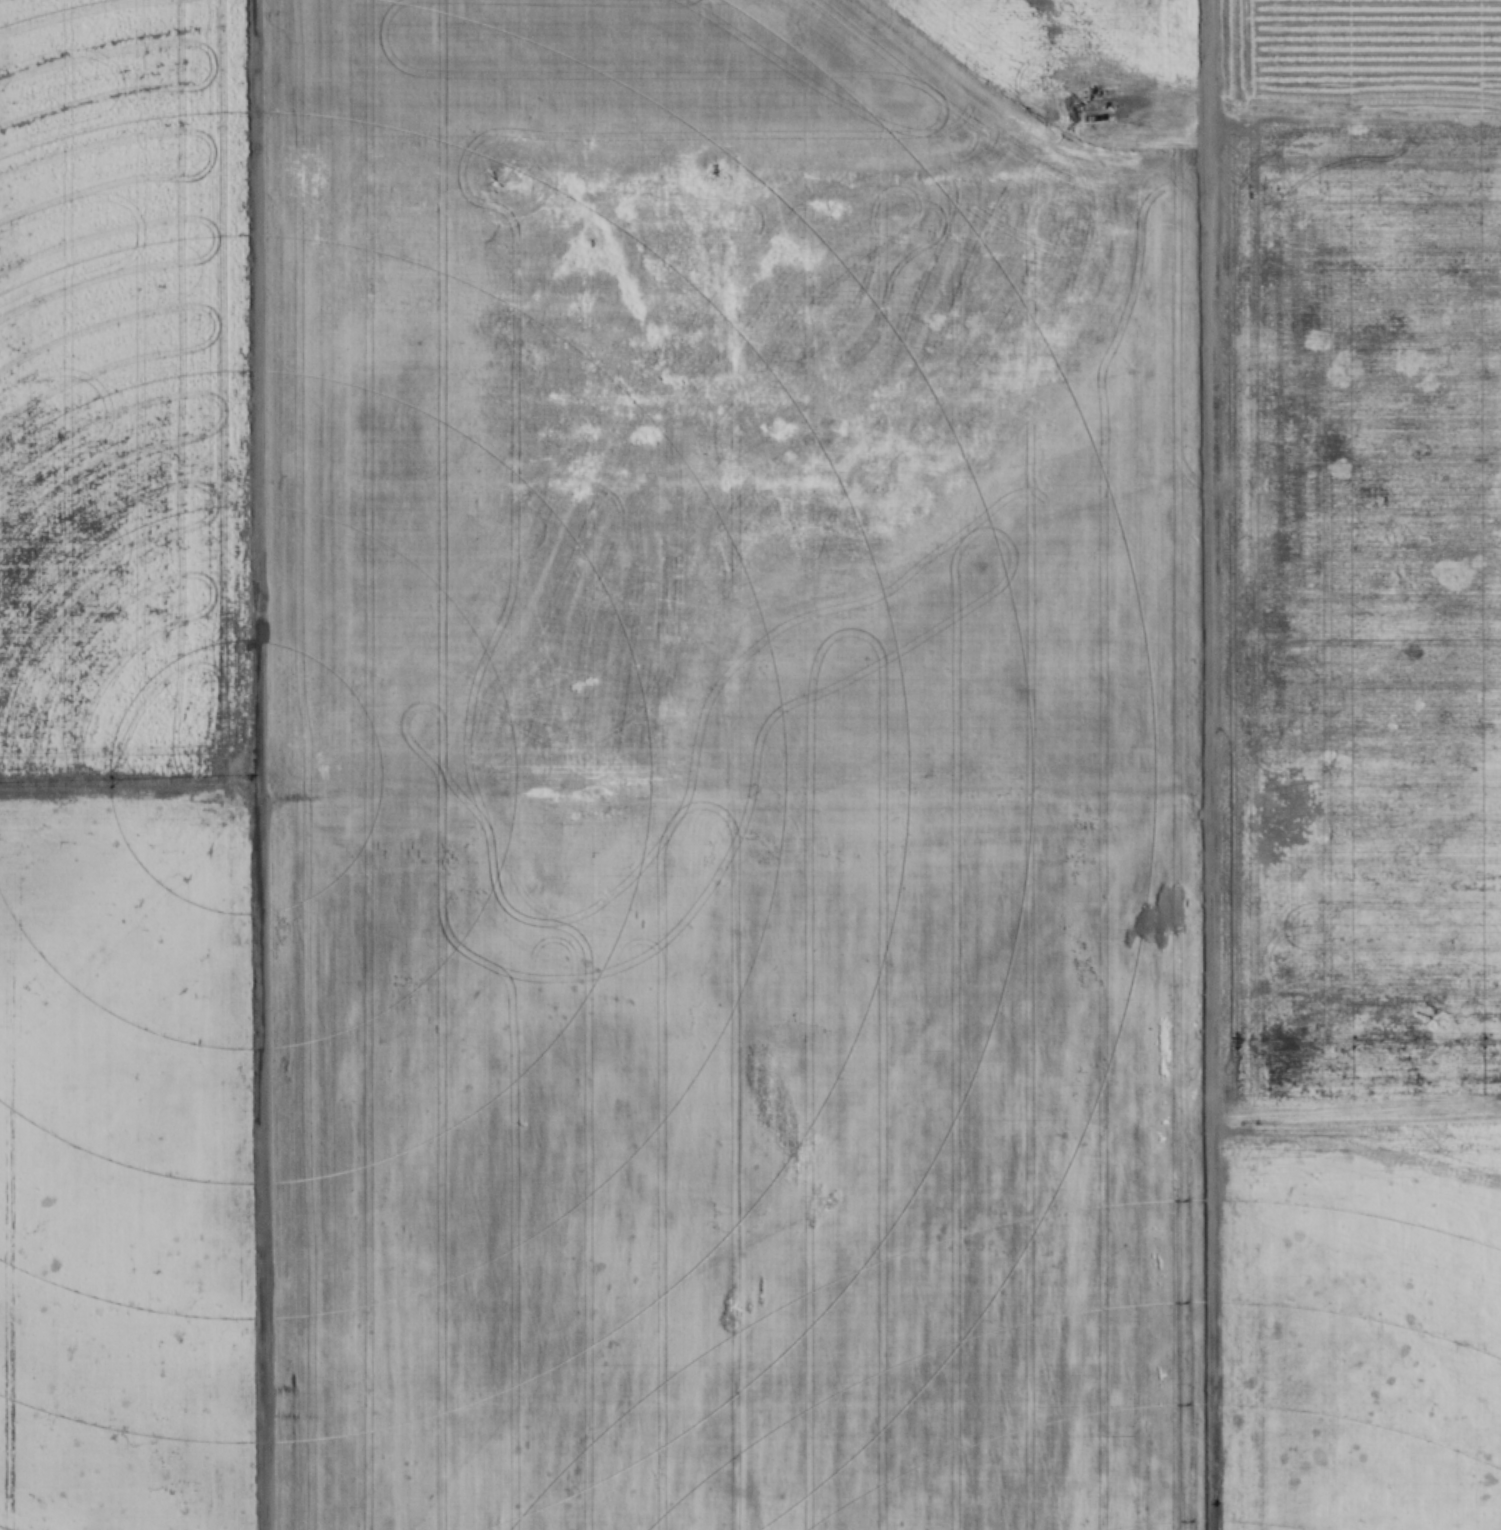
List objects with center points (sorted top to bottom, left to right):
crop: (1353, 1332)

